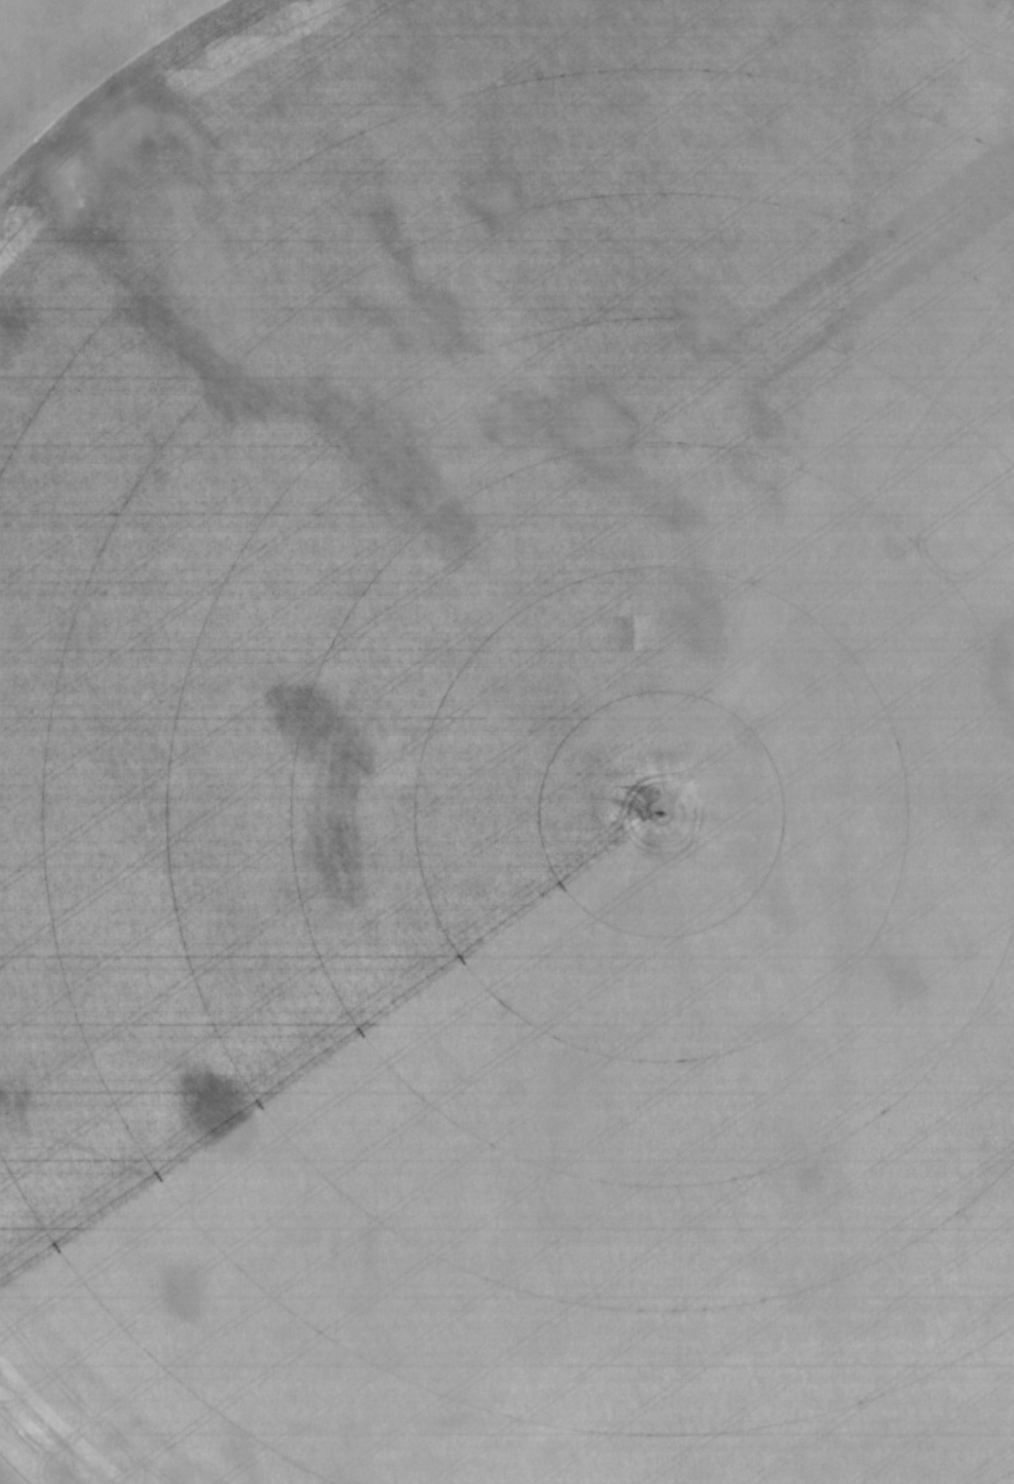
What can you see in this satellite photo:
crop: (507, 742)

